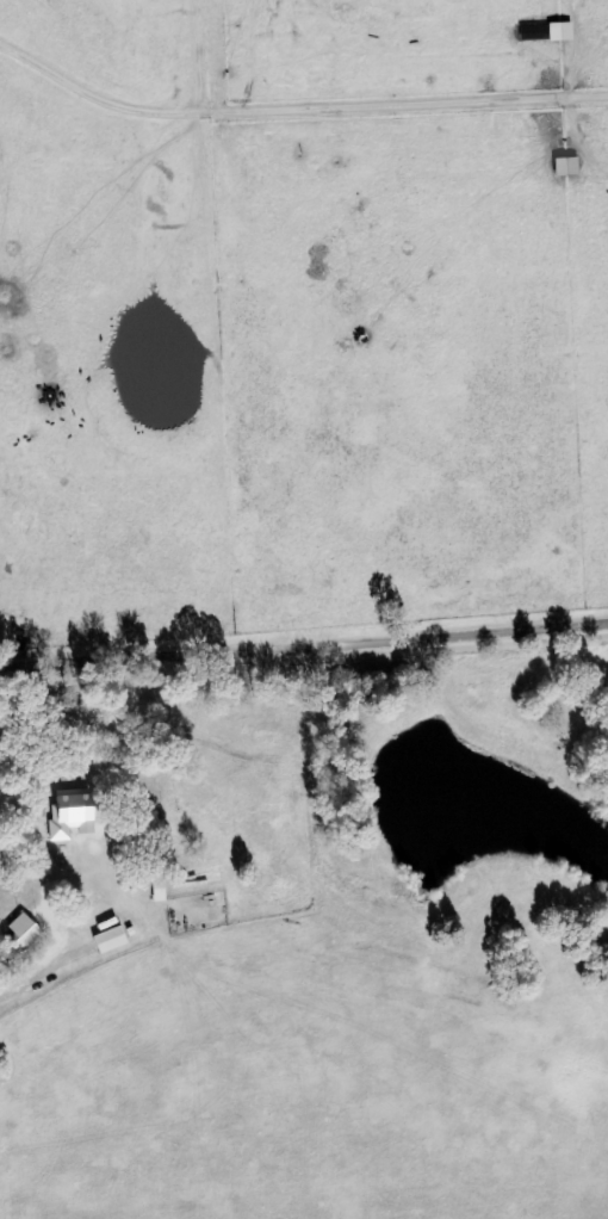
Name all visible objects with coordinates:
building: (556, 32)
building: (562, 167)
road: (304, 644)
building: (105, 941)
road: (41, 974)
road: (249, 1153)

